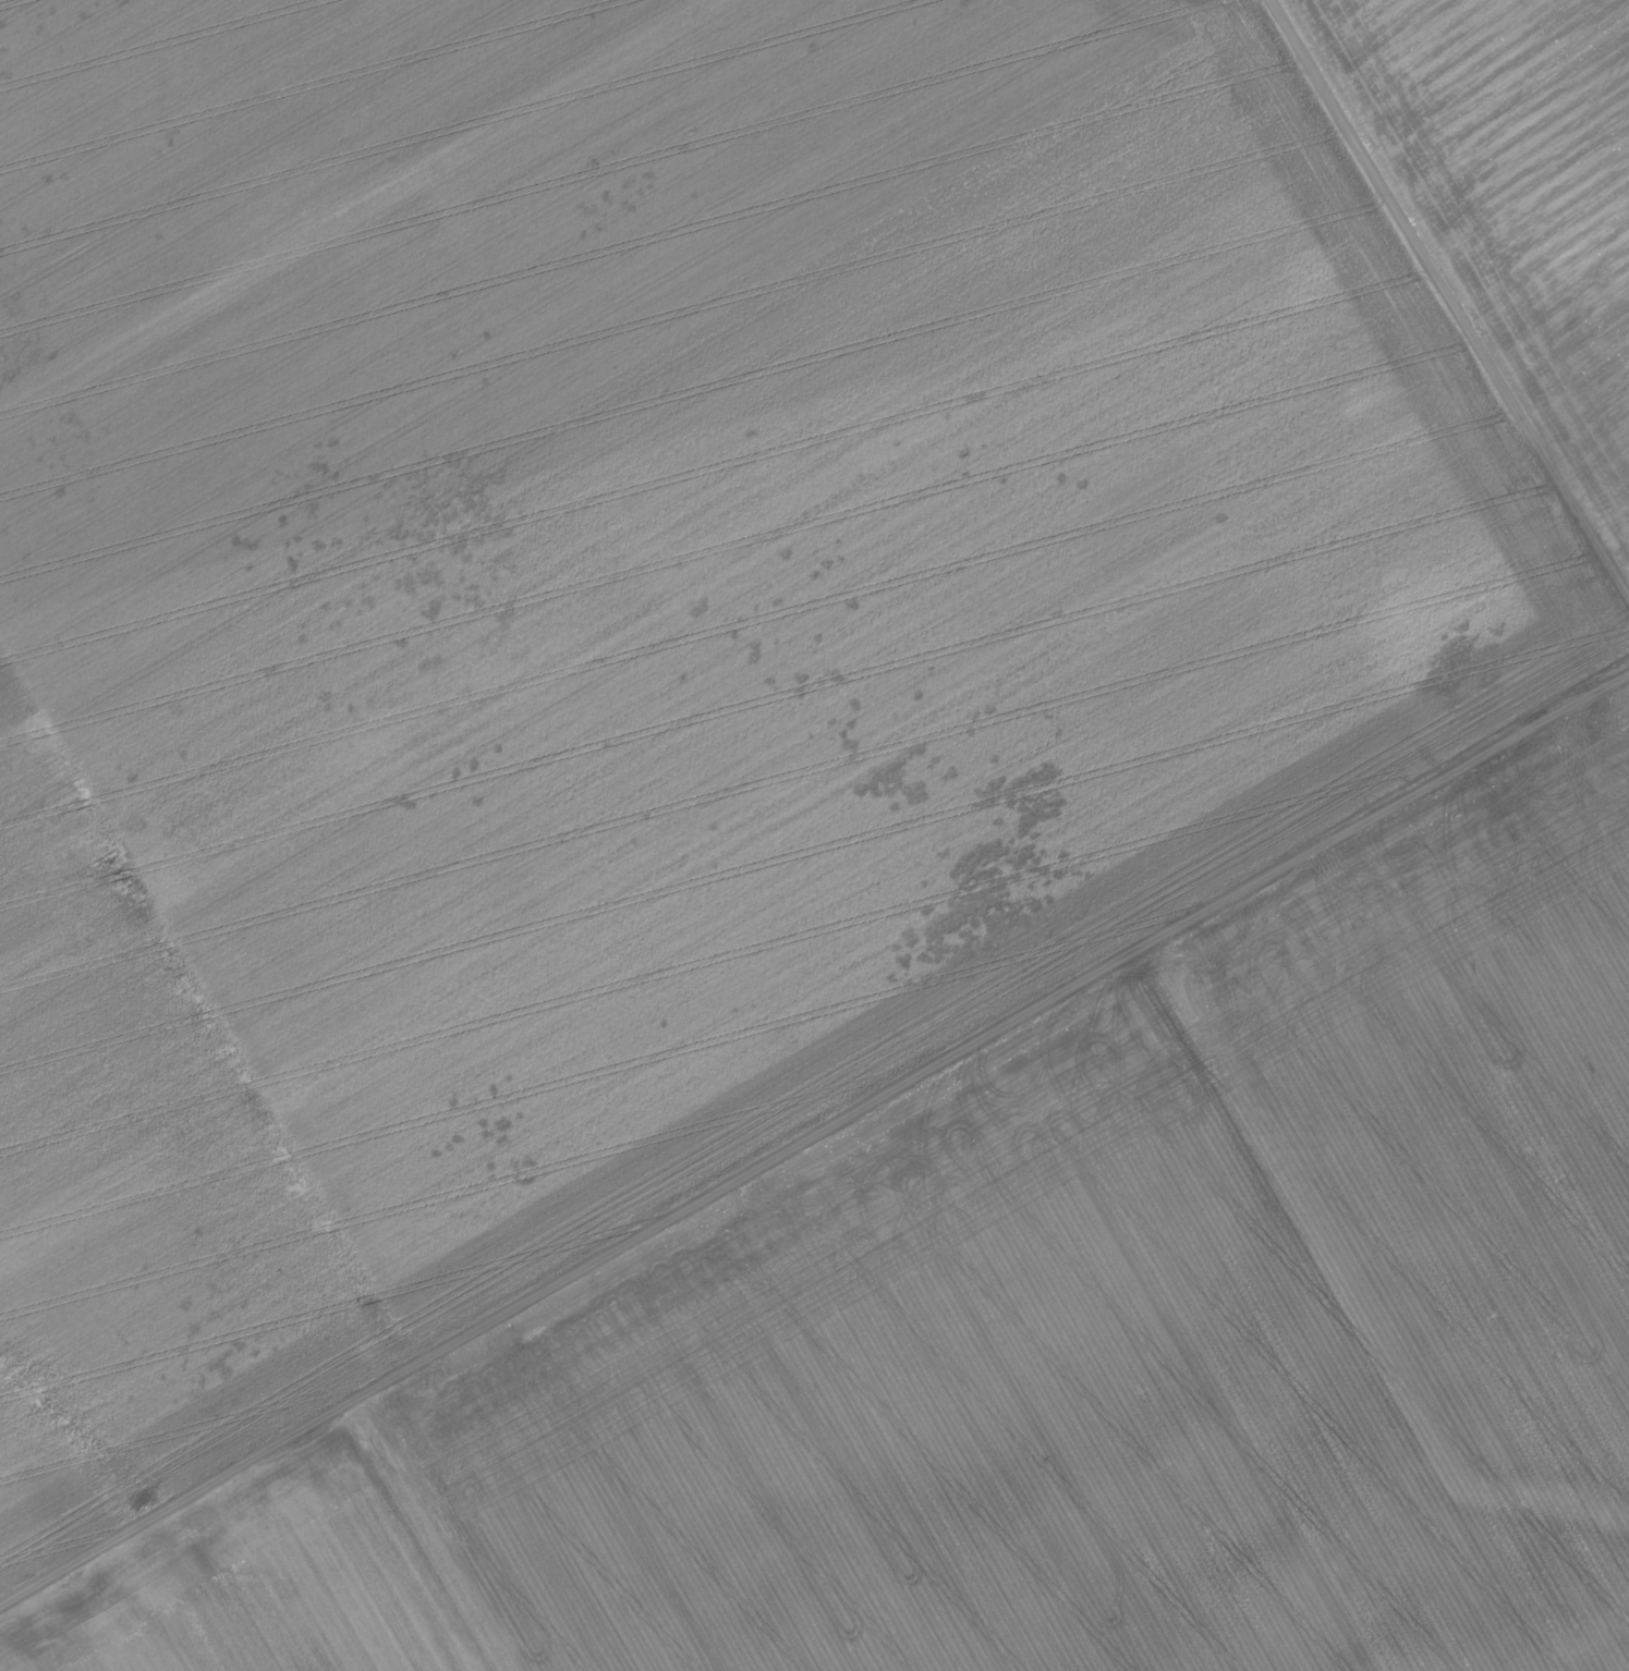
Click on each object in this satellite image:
road: (1450, 302)
road: (1513, 548)
road: (988, 1023)
road: (174, 1496)
road: (429, 1532)

